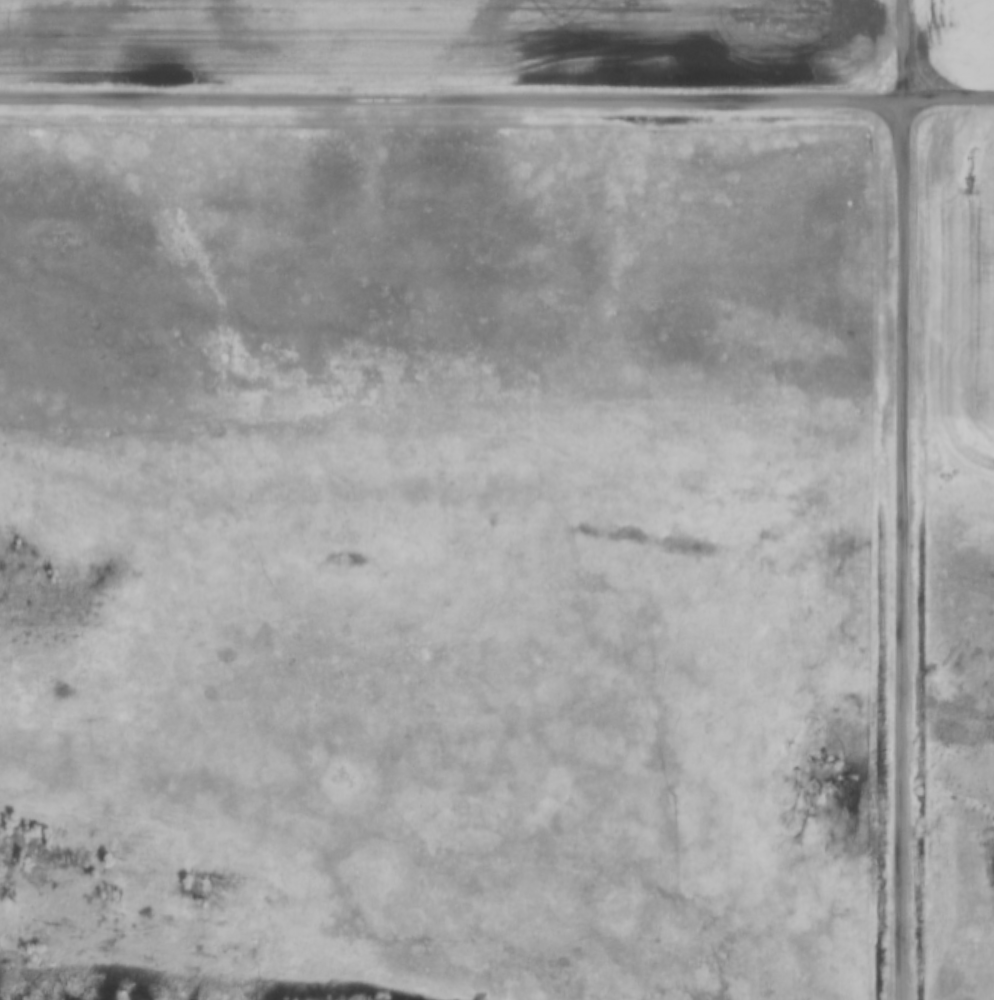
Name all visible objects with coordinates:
road: (899, 47)
road: (497, 94)
road: (899, 546)

